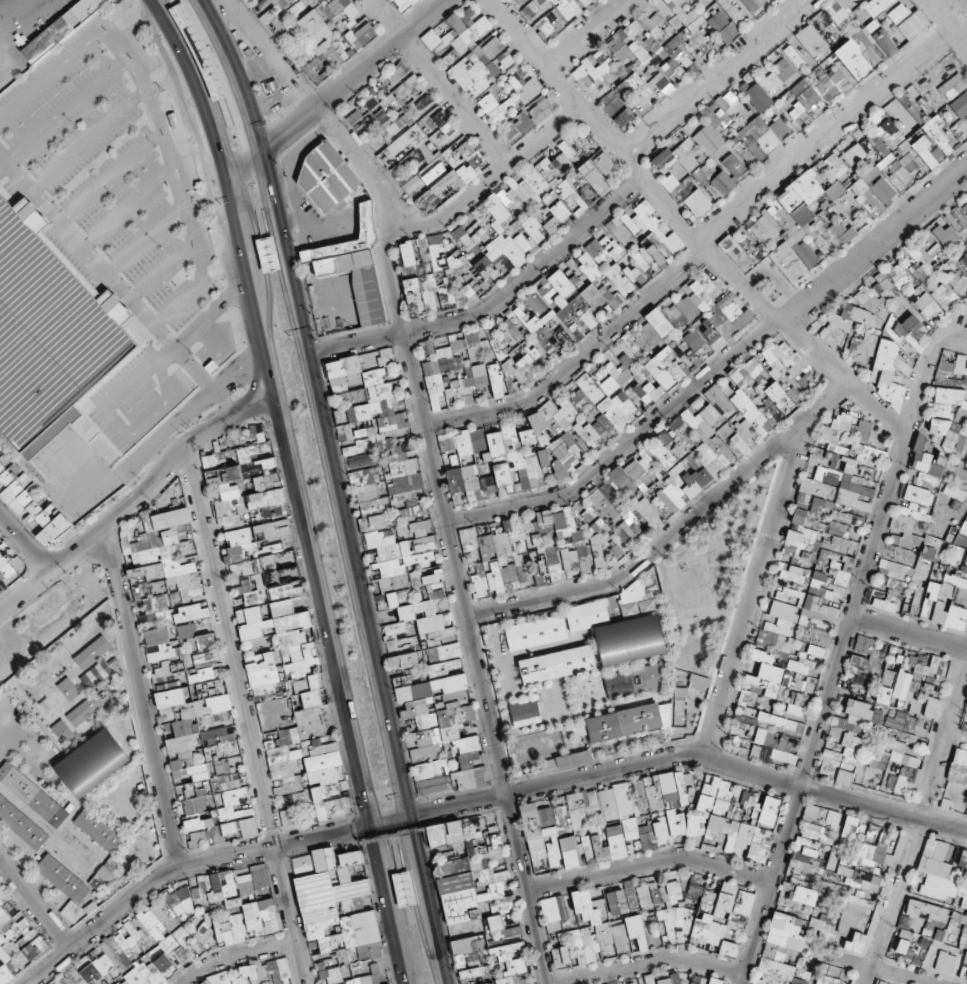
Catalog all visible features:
park: (693, 596)

